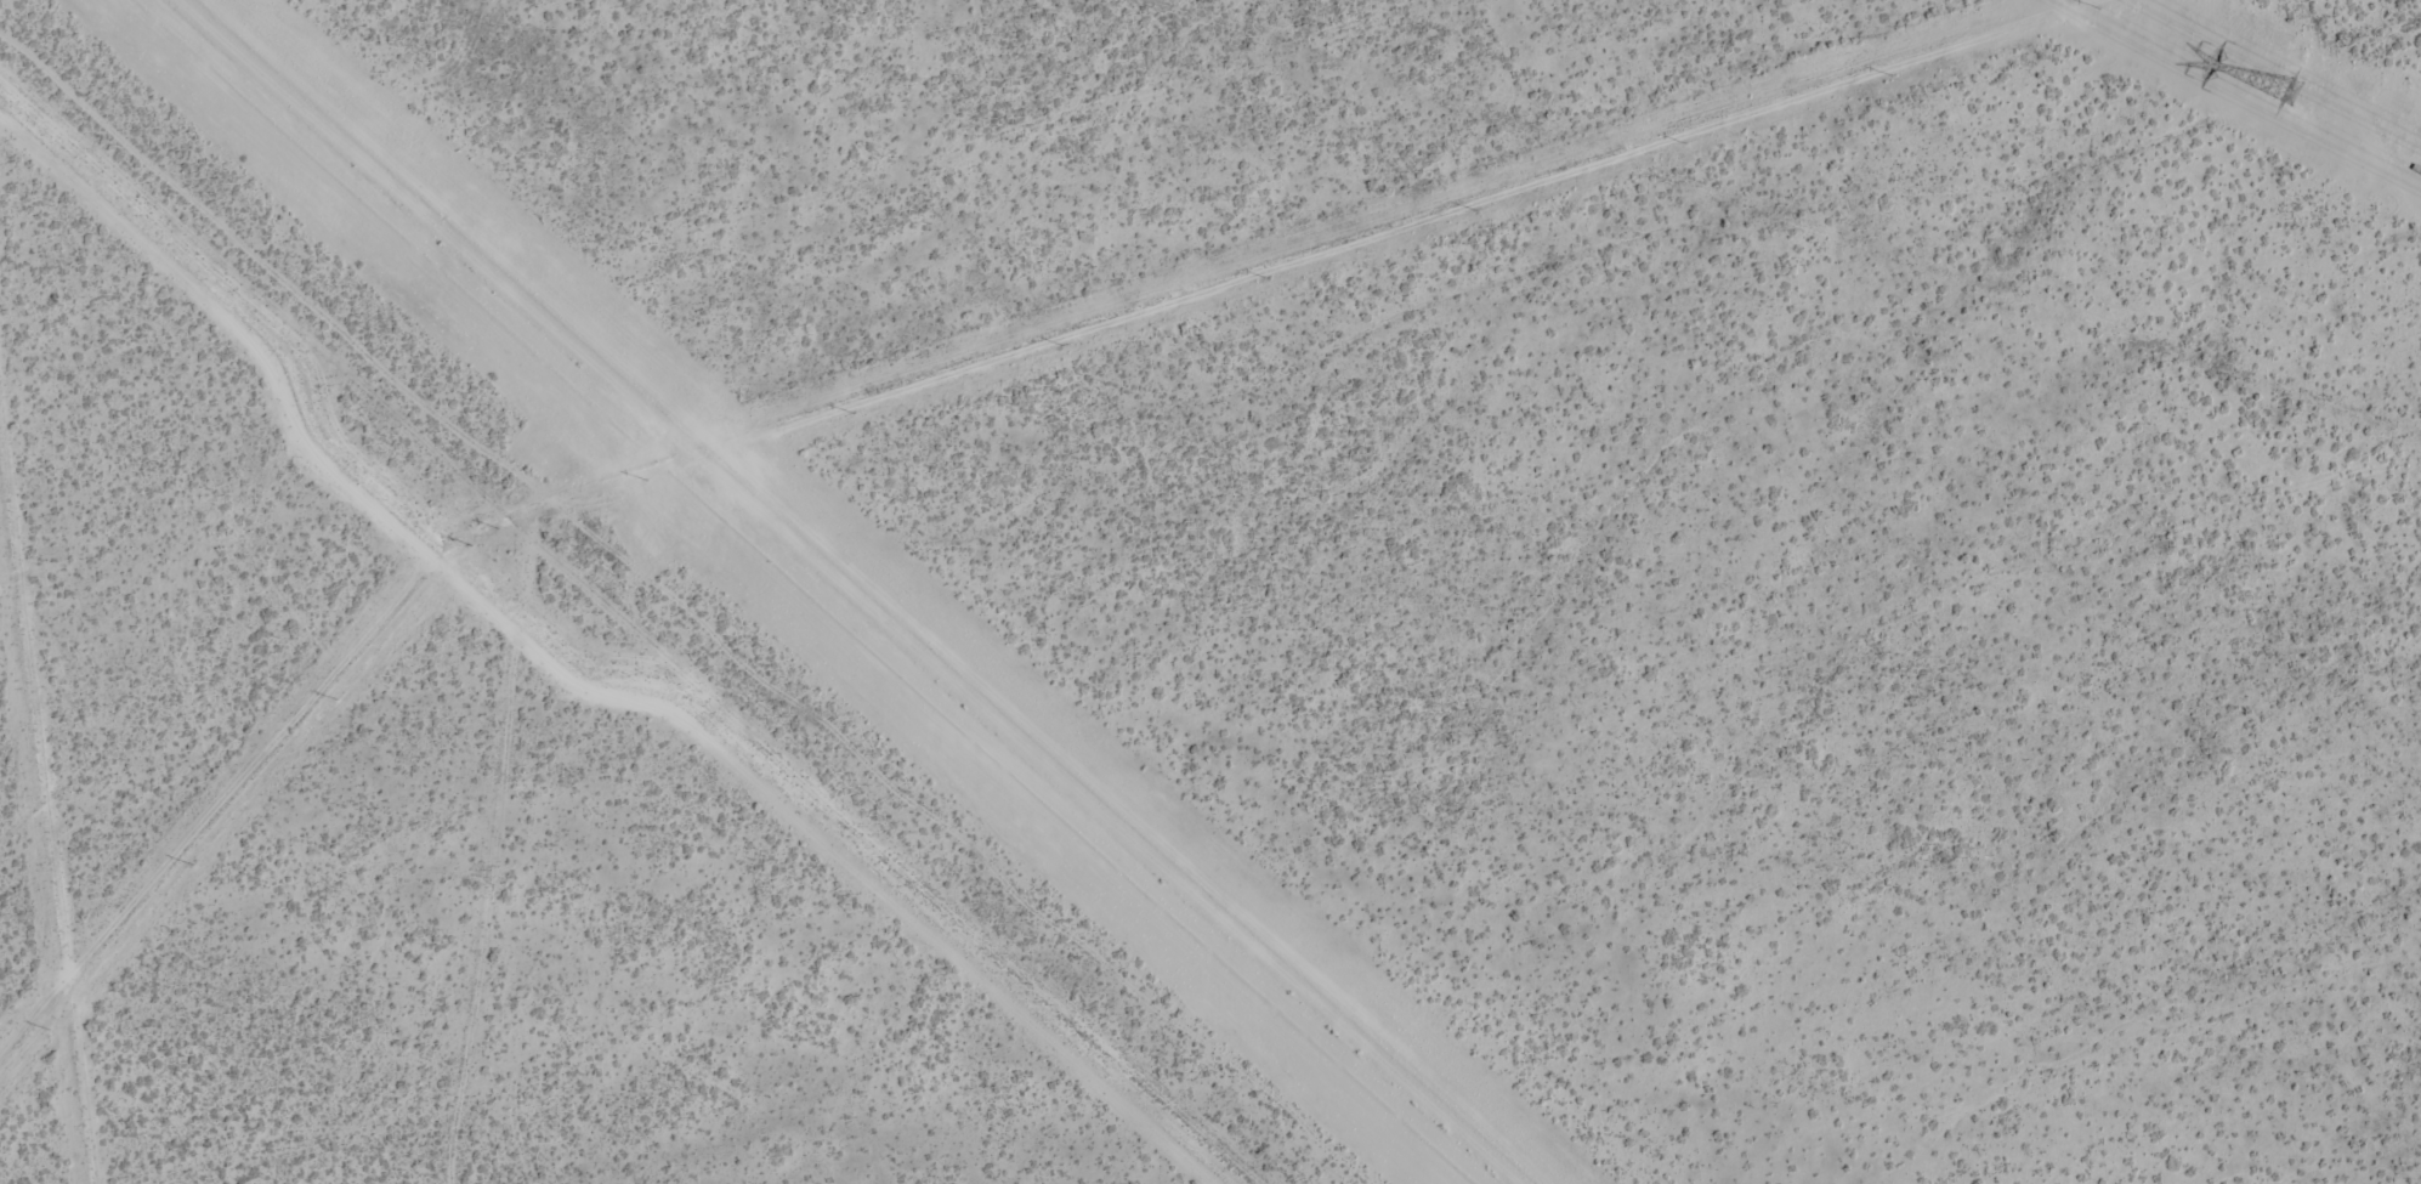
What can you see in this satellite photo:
power tower: (2292, 95)
road: (1475, 288)

